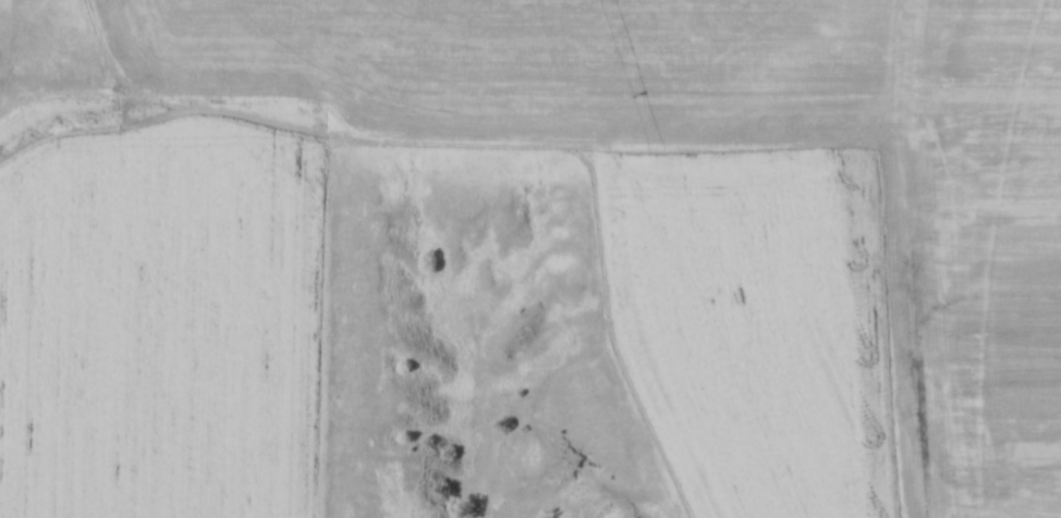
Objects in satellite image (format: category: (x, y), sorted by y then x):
crop: (155, 311)
crop: (761, 316)

